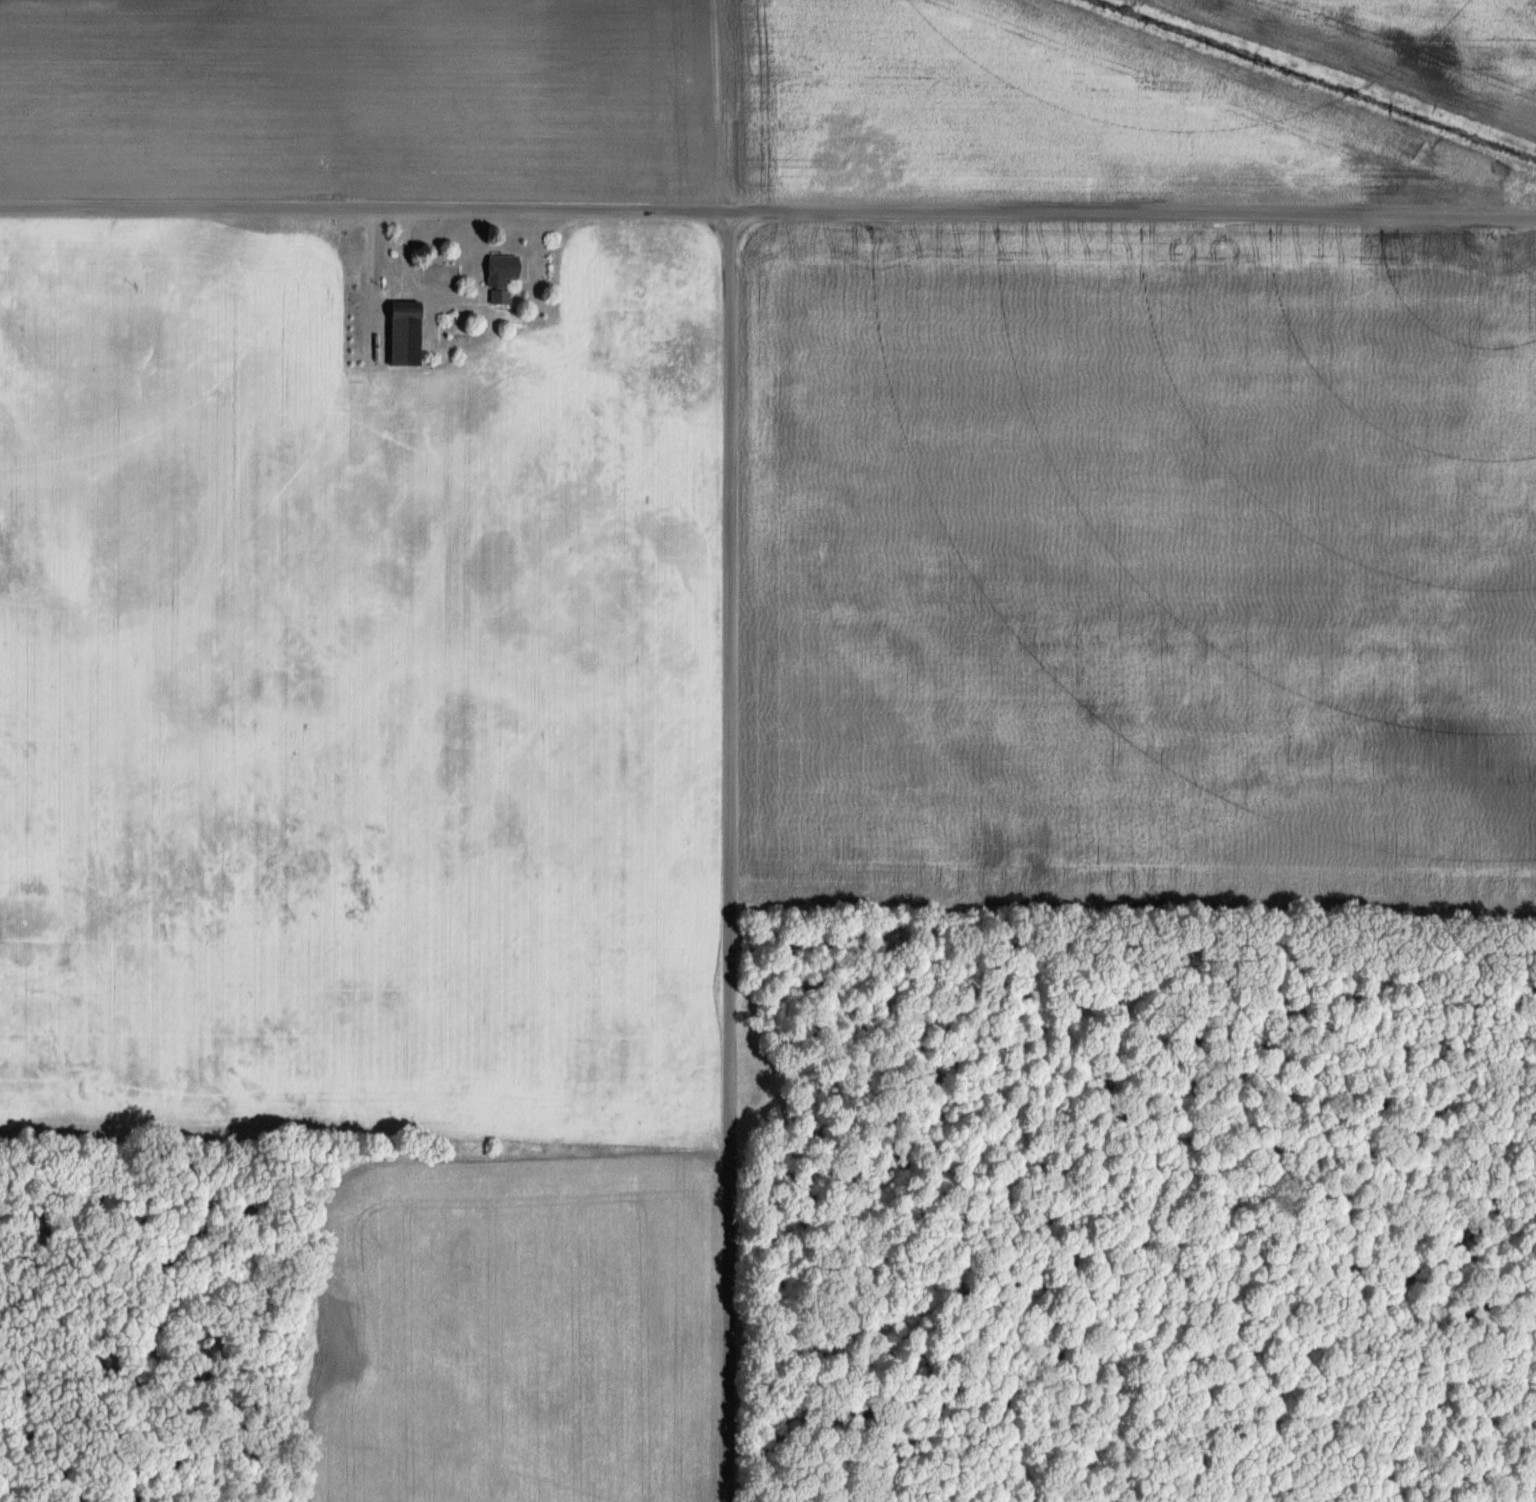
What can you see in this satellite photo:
road: (767, 212)
building: (499, 278)
road: (414, 282)
building: (402, 335)
road: (733, 857)

